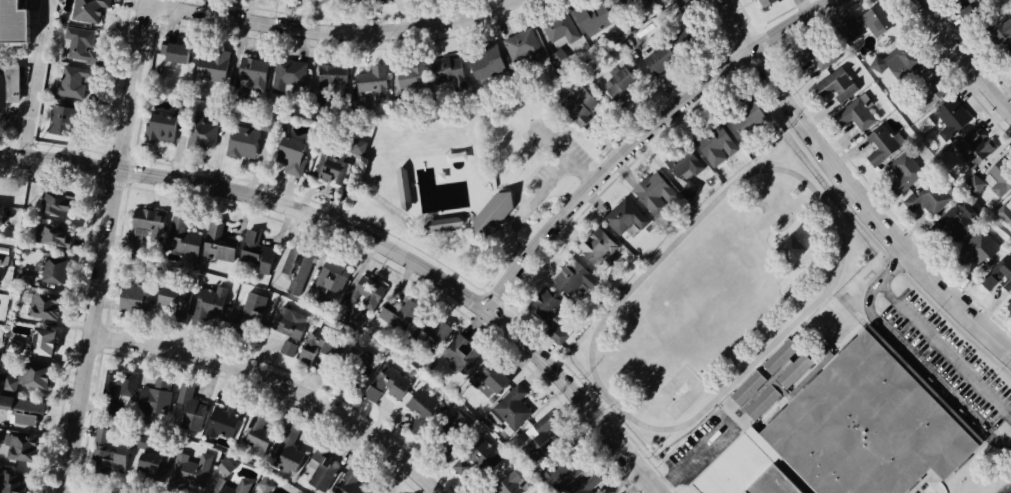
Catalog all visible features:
building: (329, 0)
building: (971, 1)
building: (623, 2)
building: (641, 2)
building: (762, 3)
building: (87, 9)
building: (589, 14)
building: (11, 20)
building: (863, 23)
building: (557, 29)
road: (335, 31)
building: (1003, 33)
building: (685, 36)
building: (80, 44)
building: (522, 48)
building: (172, 51)
building: (816, 53)
road: (967, 55)
building: (558, 57)
building: (654, 60)
building: (483, 62)
building: (875, 63)
building: (209, 64)
building: (1010, 66)
building: (251, 70)
building: (445, 70)
building: (287, 73)
building: (330, 75)
building: (410, 75)
road: (41, 78)
building: (70, 80)
building: (615, 80)
building: (8, 82)
building: (371, 82)
building: (834, 85)
building: (920, 91)
building: (577, 105)
building: (855, 113)
building: (950, 118)
building: (59, 119)
building: (926, 124)
building: (757, 125)
building: (157, 127)
building: (199, 132)
road: (643, 135)
parking lot: (551, 137)
building: (239, 143)
building: (880, 144)
building: (358, 146)
building: (716, 146)
building: (972, 146)
building: (287, 149)
road: (563, 151)
road: (544, 153)
road: (542, 157)
building: (681, 163)
building: (906, 172)
building: (331, 174)
building: (998, 176)
road: (528, 177)
parking lot: (538, 177)
park: (451, 182)
building: (974, 184)
building: (404, 186)
road: (854, 186)
building: (652, 189)
building: (688, 189)
road: (539, 194)
building: (928, 197)
road: (517, 198)
building: (53, 202)
road: (494, 205)
road: (511, 205)
park: (545, 207)
building: (1005, 210)
building: (1, 212)
building: (491, 214)
building: (623, 216)
building: (146, 218)
road: (505, 219)
building: (954, 221)
building: (447, 223)
road: (503, 228)
building: (50, 234)
building: (180, 235)
road: (375, 239)
building: (136, 241)
building: (216, 242)
road: (111, 246)
road: (411, 246)
road: (502, 246)
building: (594, 246)
building: (974, 247)
road: (510, 248)
building: (254, 252)
building: (3, 258)
road: (504, 264)
building: (297, 265)
building: (48, 269)
road: (492, 274)
building: (998, 274)
building: (24, 277)
building: (570, 278)
building: (328, 283)
road: (483, 290)
building: (366, 292)
road: (493, 298)
building: (132, 299)
building: (172, 299)
building: (208, 300)
building: (544, 305)
building: (1009, 305)
building: (42, 306)
building: (252, 308)
building: (396, 312)
building: (356, 317)
building: (288, 322)
building: (555, 334)
building: (39, 339)
building: (325, 342)
building: (432, 345)
building: (295, 352)
building: (462, 353)
road: (911, 353)
building: (355, 365)
building: (786, 365)
building: (29, 377)
building: (490, 379)
road: (284, 382)
building: (117, 383)
building: (385, 385)
building: (748, 387)
building: (153, 401)
building: (420, 401)
building: (763, 402)
building: (190, 407)
building: (510, 407)
building: (23, 409)
building: (222, 418)
building: (453, 429)
building: (257, 430)
building: (849, 433)
building: (537, 440)
building: (143, 442)
building: (21, 448)
building: (482, 455)
building: (108, 457)
building: (286, 458)
road: (696, 458)
building: (145, 462)
building: (570, 463)
building: (160, 467)
building: (227, 467)
building: (190, 471)
building: (321, 476)
building: (12, 482)
building: (345, 483)
building: (508, 483)
building: (584, 484)
building: (267, 485)
building: (241, 486)

